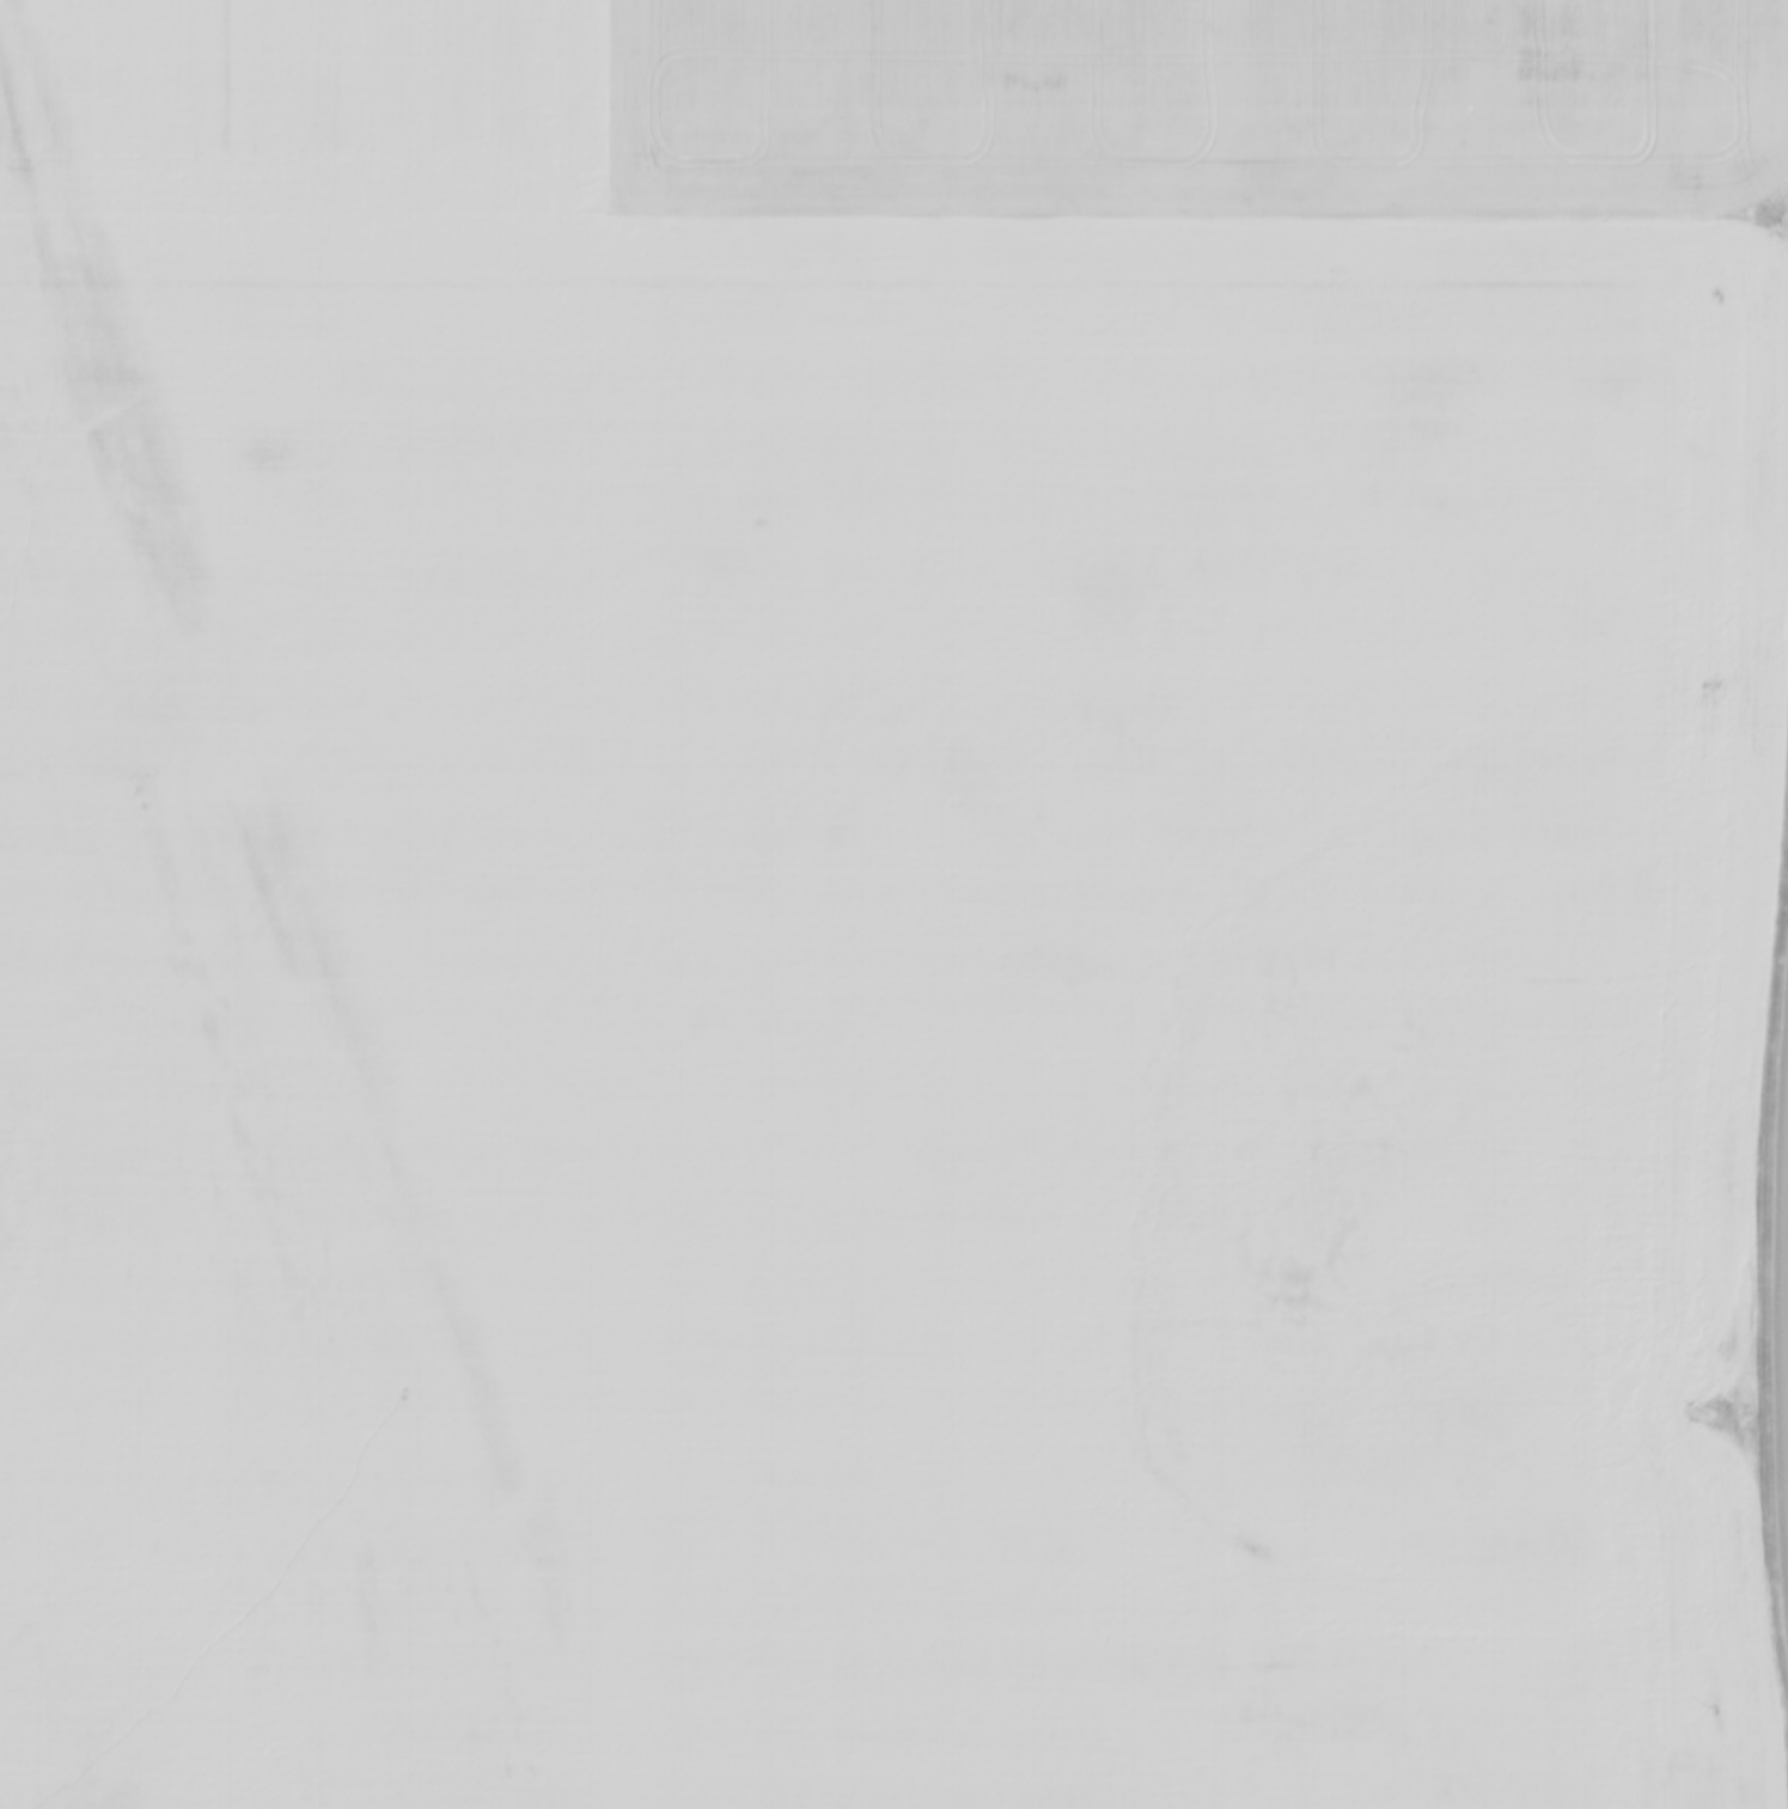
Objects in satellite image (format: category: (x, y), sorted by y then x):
road: (1786, 1294)

